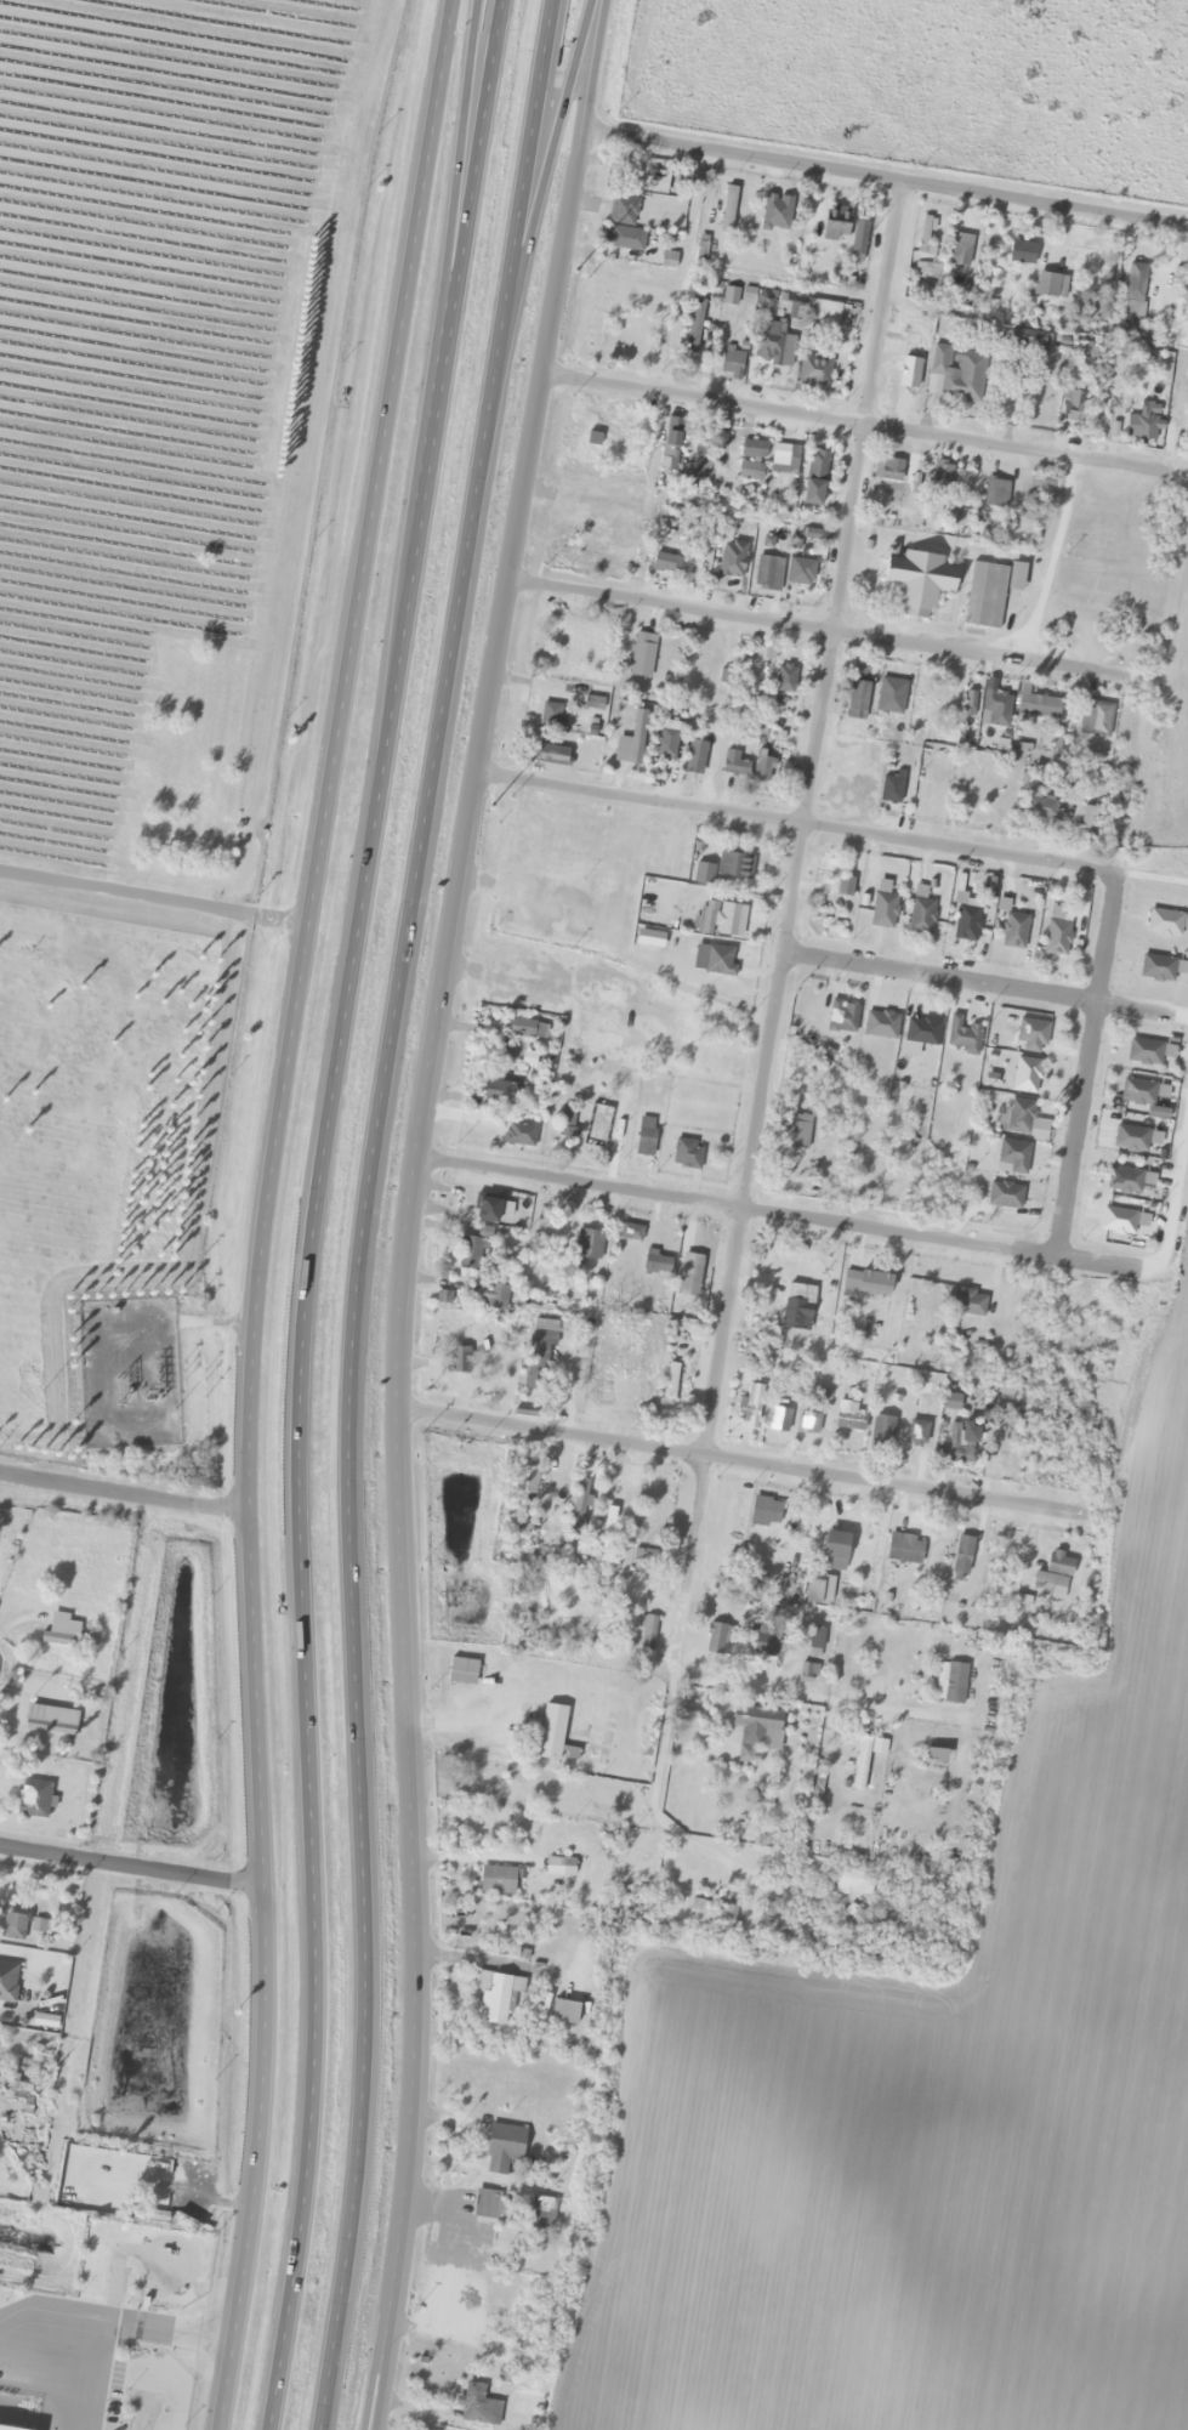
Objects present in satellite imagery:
road: (599, 67)
road: (749, 158)
road: (548, 170)
building: (648, 181)
road: (1048, 204)
building: (727, 209)
building: (623, 210)
building: (775, 214)
road: (459, 220)
road: (471, 221)
building: (836, 225)
building: (926, 237)
building: (619, 238)
building: (859, 240)
building: (960, 250)
building: (1021, 252)
building: (921, 268)
building: (1136, 282)
building: (1047, 285)
building: (823, 312)
building: (1024, 340)
building: (773, 344)
building: (732, 362)
building: (814, 373)
building: (957, 373)
building: (909, 379)
building: (1076, 407)
building: (1040, 413)
road: (848, 420)
building: (1142, 425)
building: (673, 432)
building: (754, 449)
building: (780, 454)
building: (700, 464)
building: (817, 467)
building: (750, 471)
building: (887, 471)
building: (942, 476)
building: (995, 494)
building: (732, 560)
road: (1039, 560)
building: (664, 564)
building: (801, 573)
building: (767, 574)
building: (921, 583)
building: (985, 596)
road: (815, 629)
building: (641, 654)
building: (552, 657)
building: (704, 671)
building: (785, 677)
building: (889, 695)
building: (857, 702)
building: (968, 703)
building: (996, 706)
building: (1039, 706)
building: (550, 715)
building: (1095, 719)
building: (631, 742)
building: (666, 744)
building: (551, 755)
building: (695, 756)
building: (733, 763)
building: (763, 767)
road: (482, 771)
building: (891, 789)
road: (641, 800)
building: (1041, 808)
building: (1090, 817)
road: (957, 850)
building: (734, 864)
building: (845, 885)
road: (363, 901)
road: (152, 902)
railway: (595, 910)
building: (920, 912)
building: (729, 919)
building: (966, 922)
building: (1166, 922)
road: (785, 926)
building: (1013, 931)
building: (1057, 933)
building: (718, 960)
building: (1158, 967)
road: (976, 984)
building: (842, 1017)
building: (524, 1028)
building: (922, 1031)
building: (964, 1035)
building: (1031, 1035)
building: (1148, 1052)
building: (528, 1058)
road: (1082, 1067)
building: (1025, 1075)
building: (499, 1091)
building: (1137, 1092)
building: (1017, 1117)
building: (567, 1123)
building: (593, 1123)
building: (797, 1132)
building: (518, 1135)
road: (273, 1137)
building: (644, 1137)
building: (1130, 1139)
building: (687, 1153)
building: (1013, 1156)
building: (1124, 1180)
building: (1005, 1196)
road: (369, 1209)
building: (488, 1210)
road: (778, 1214)
building: (1118, 1221)
building: (630, 1232)
building: (587, 1243)
building: (470, 1254)
building: (652, 1262)
building: (866, 1283)
building: (494, 1296)
building: (968, 1304)
building: (795, 1307)
building: (464, 1351)
power substation: (127, 1374)
building: (670, 1381)
road: (411, 1412)
building: (749, 1412)
building: (848, 1416)
building: (778, 1418)
building: (808, 1423)
building: (882, 1429)
building: (916, 1433)
building: (959, 1442)
road: (756, 1460)
building: (524, 1481)
road: (119, 1492)
building: (653, 1503)
building: (579, 1505)
building: (764, 1510)
building: (521, 1525)
building: (943, 1532)
building: (904, 1550)
building: (835, 1551)
building: (961, 1559)
building: (938, 1571)
building: (1053, 1578)
building: (813, 1592)
building: (61, 1631)
building: (647, 1633)
building: (814, 1637)
building: (714, 1639)
building: (807, 1673)
building: (954, 1682)
road: (809, 1693)
road: (660, 1719)
building: (755, 1722)
building: (551, 1732)
building: (570, 1754)
building: (936, 1760)
building: (860, 1764)
building: (33, 1799)
road: (419, 1856)
road: (126, 1867)
building: (559, 1867)
building: (498, 1880)
building: (851, 1884)
road: (297, 1896)
building: (710, 1914)
building: (12, 1926)
building: (852, 1926)
building: (7, 1982)
building: (499, 1993)
building: (502, 2148)
building: (160, 2188)
building: (487, 2204)
building: (541, 2213)
road: (232, 2360)
road: (388, 2364)
building: (476, 2402)
building: (10, 2428)

